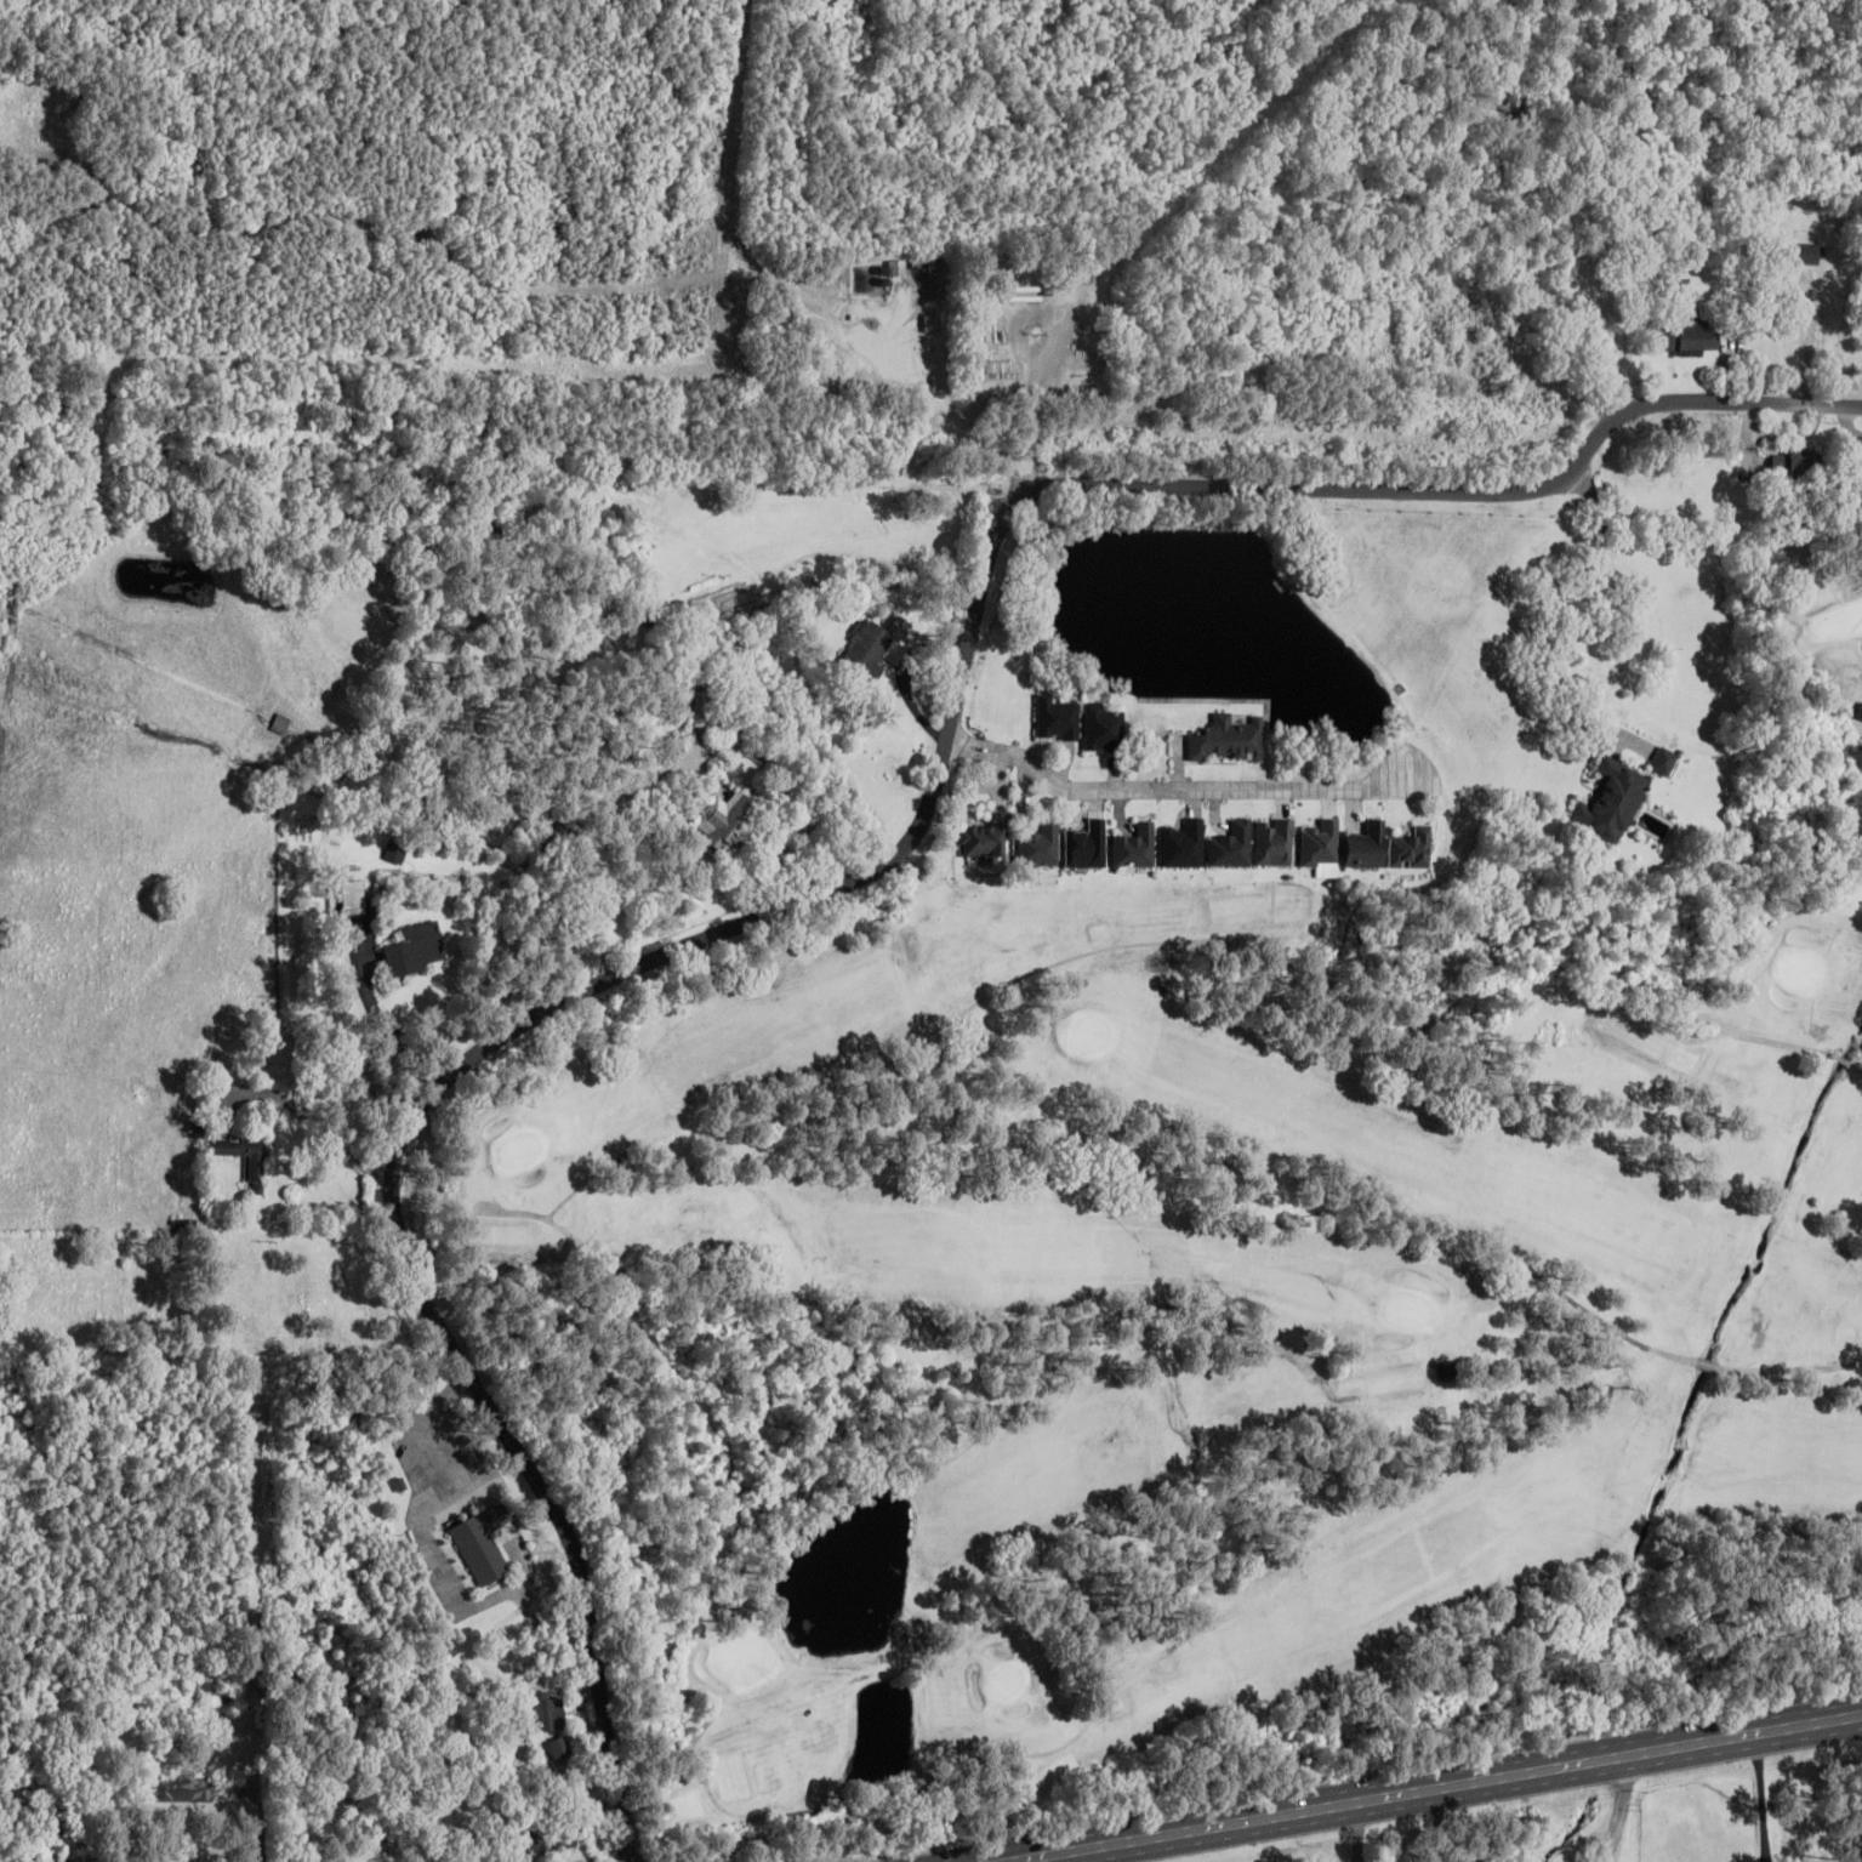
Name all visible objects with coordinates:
building: (1516, 116)
road: (483, 136)
road: (469, 213)
building: (1801, 255)
road: (358, 271)
building: (1680, 287)
building: (1687, 337)
road: (1024, 422)
building: (1794, 465)
building: (871, 645)
building: (691, 700)
building: (1058, 718)
building: (1103, 728)
building: (1228, 740)
building: (1663, 759)
road: (1171, 788)
building: (1611, 801)
building: (725, 820)
building: (985, 837)
building: (1272, 842)
building: (1183, 844)
building: (1230, 844)
building: (1317, 844)
building: (1038, 845)
building: (1086, 845)
building: (1363, 845)
building: (1411, 848)
building: (1133, 849)
road: (859, 877)
building: (352, 898)
building: (412, 950)
building: (1422, 970)
building: (256, 1174)
park: (1205, 1312)
building: (482, 1543)
building: (1437, 1649)
building: (542, 1716)
building: (451, 1727)
road: (1429, 1788)
building: (180, 1789)
building: (552, 1839)
building: (456, 1841)

